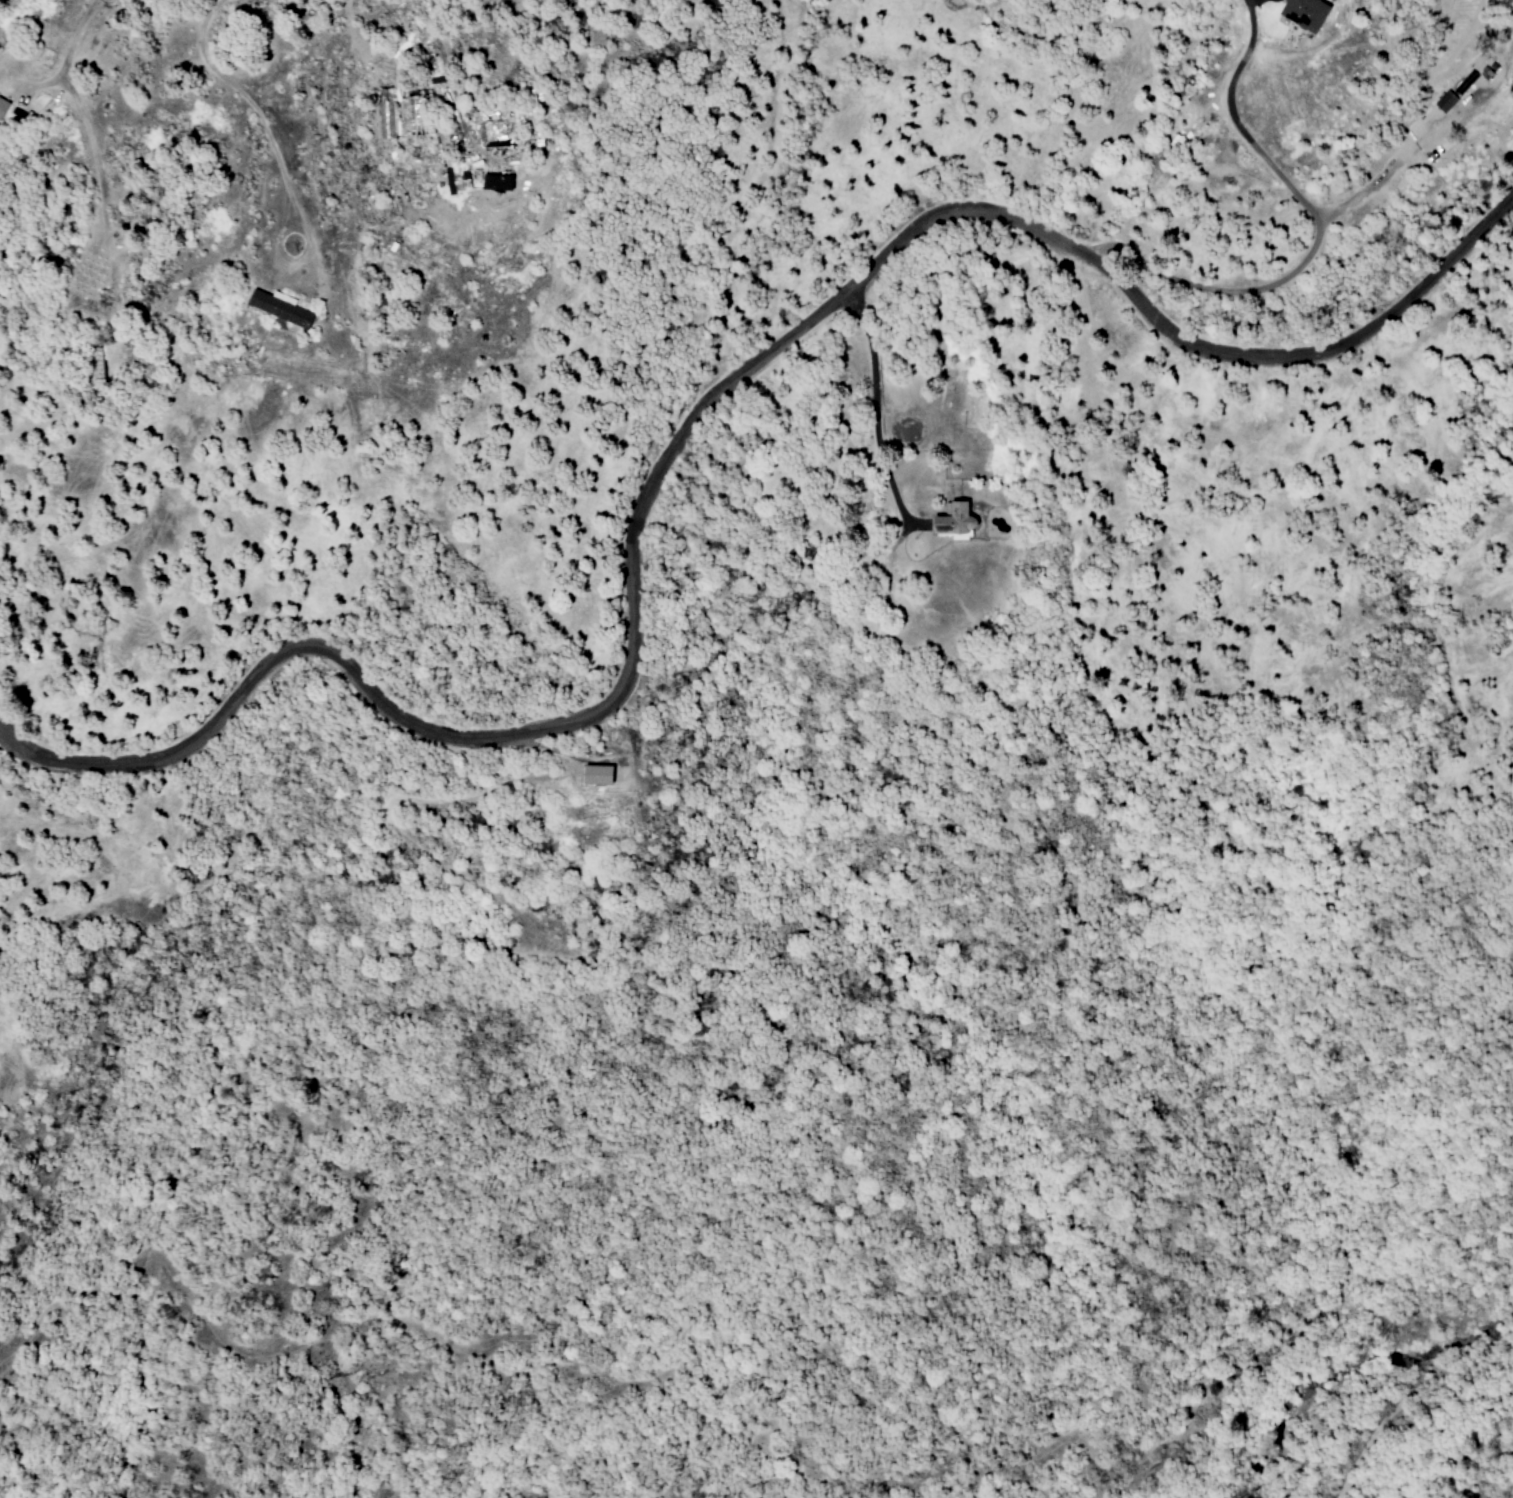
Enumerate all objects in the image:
building: (1303, 13)
road: (444, 64)
building: (1465, 83)
building: (1444, 102)
building: (2, 105)
road: (254, 105)
road: (78, 106)
building: (495, 182)
road: (1312, 242)
building: (278, 309)
road: (871, 398)
road: (694, 423)
building: (953, 522)
building: (595, 775)

